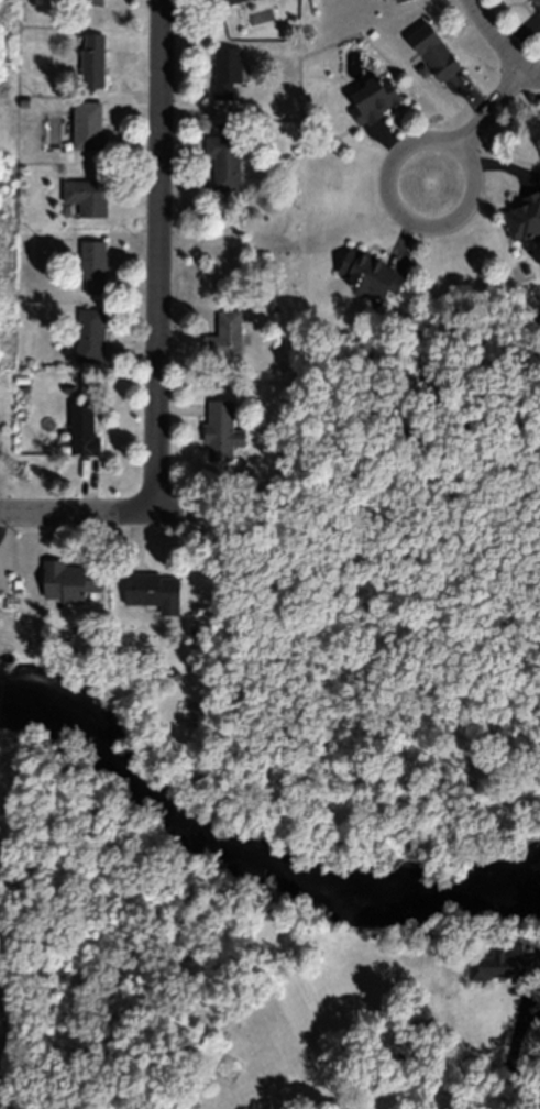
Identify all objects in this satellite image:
building: (397, 0)
building: (88, 1)
building: (223, 1)
building: (537, 3)
road: (474, 9)
road: (507, 48)
building: (432, 52)
building: (91, 59)
building: (225, 72)
building: (372, 98)
road: (489, 105)
building: (88, 125)
road: (395, 153)
building: (224, 163)
building: (87, 198)
building: (525, 218)
road: (163, 257)
building: (91, 266)
building: (368, 274)
building: (90, 334)
building: (225, 336)
building: (82, 428)
building: (221, 430)
power tower: (26, 476)
road: (108, 517)
building: (69, 580)
building: (153, 590)
park: (300, 831)
river: (250, 846)
building: (504, 963)

